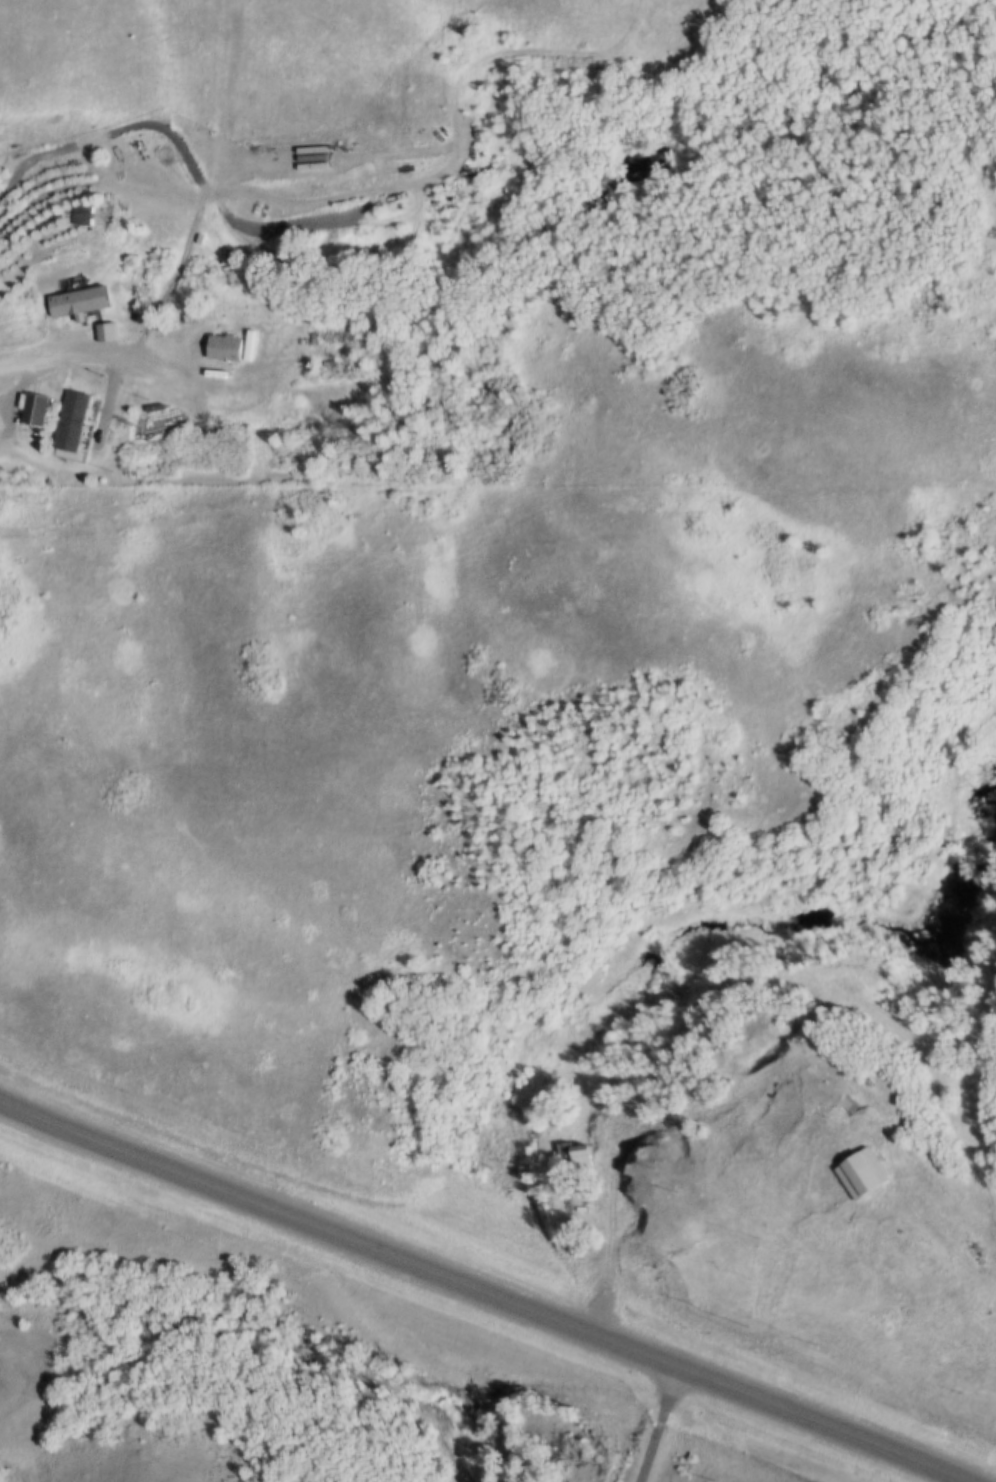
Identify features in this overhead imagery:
road: (238, 205)
building: (77, 217)
building: (73, 305)
road: (98, 345)
building: (219, 350)
building: (30, 411)
building: (71, 420)
building: (62, 421)
road: (750, 1071)
building: (571, 1146)
building: (857, 1173)
road: (481, 1292)
road: (656, 1424)

